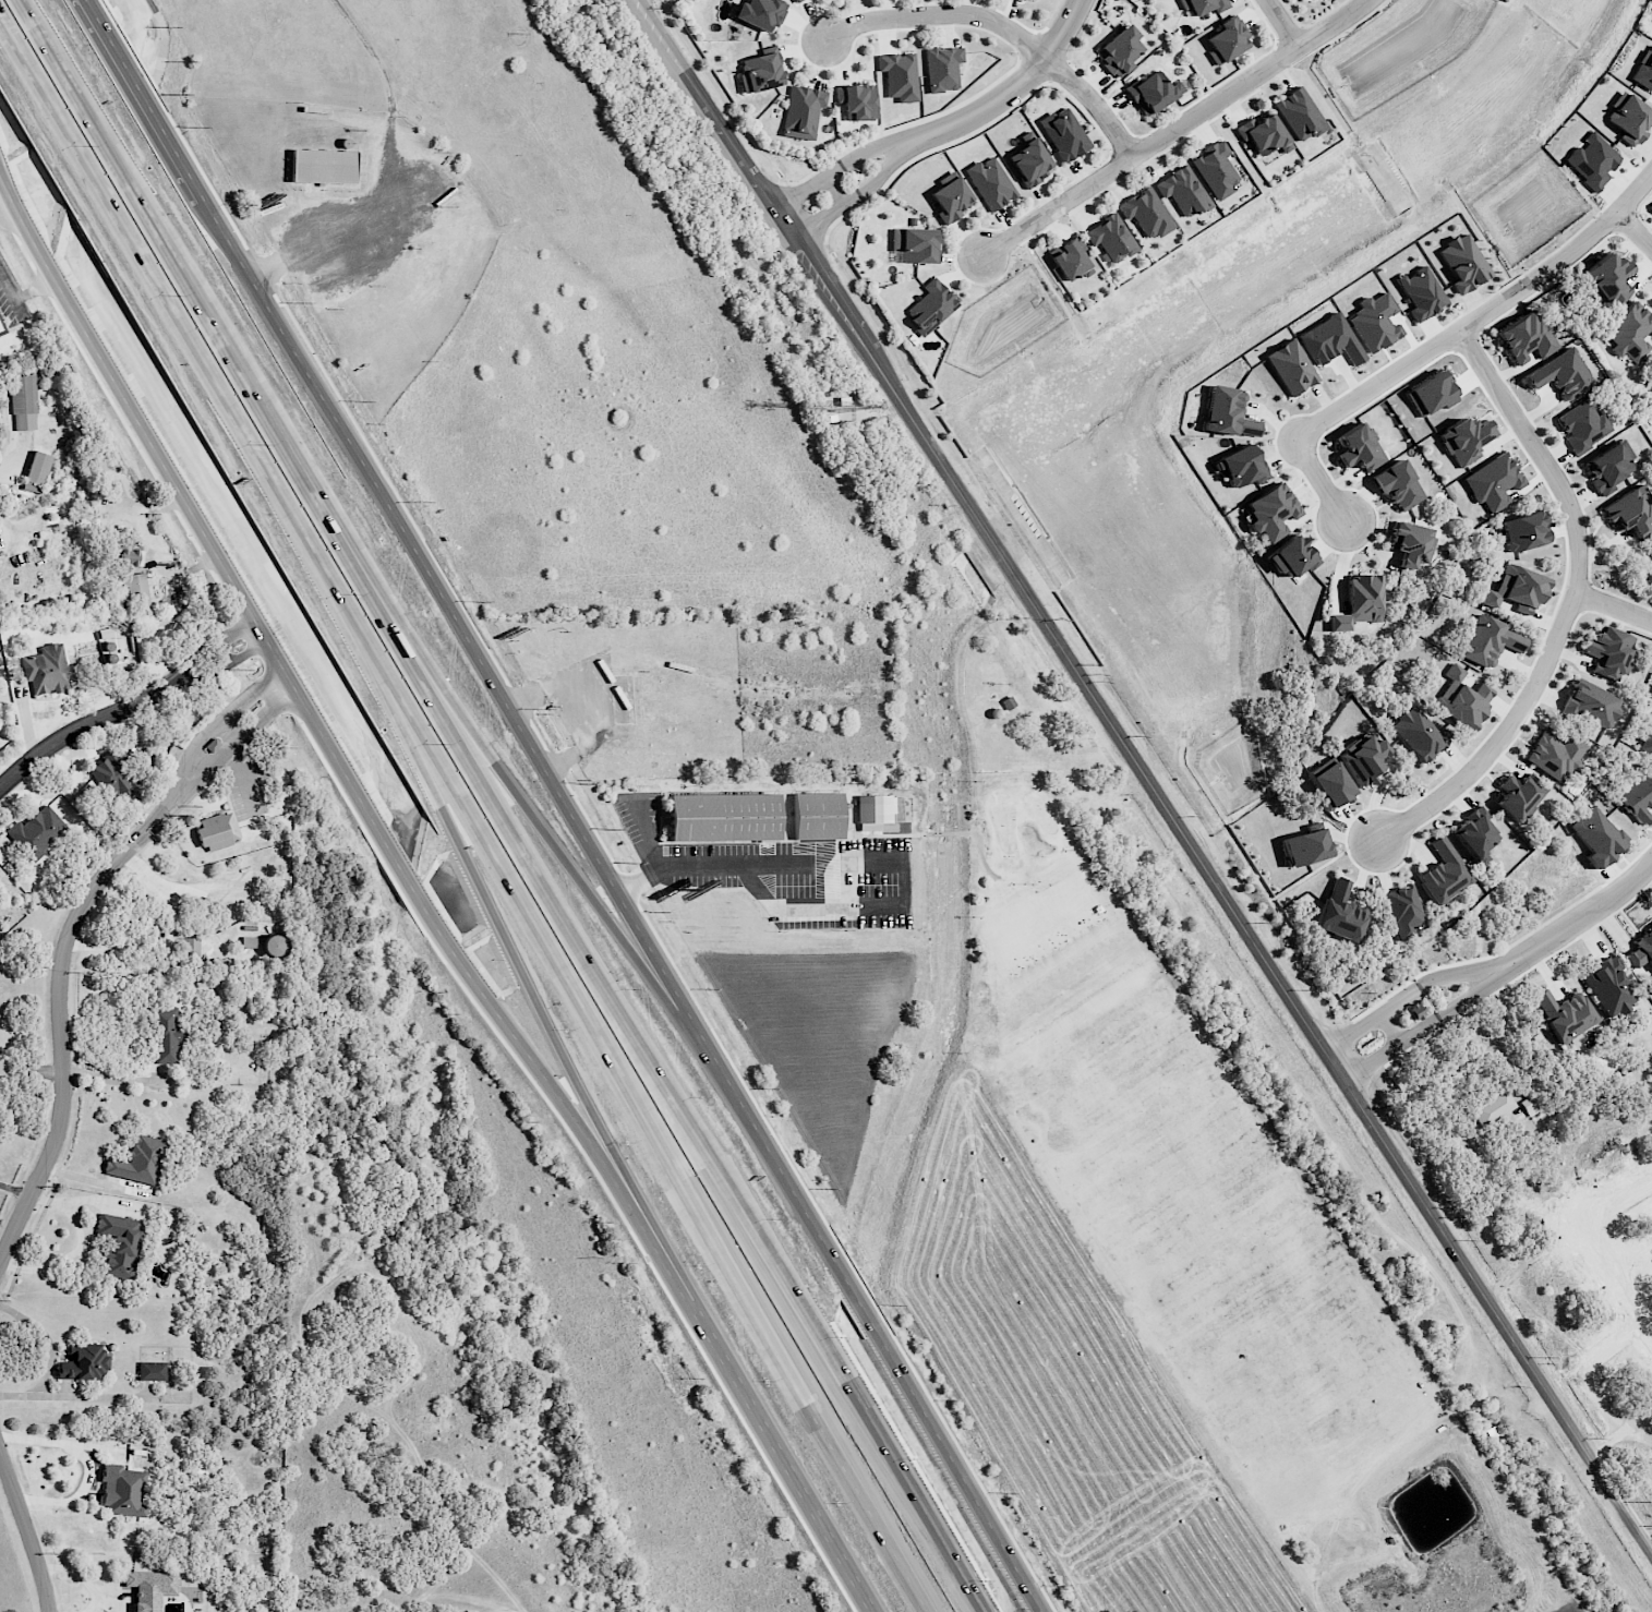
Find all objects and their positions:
building: (796, 0)
building: (1305, 0)
road: (640, 1)
building: (1203, 5)
building: (760, 13)
road: (1282, 25)
road: (1004, 27)
building: (1226, 39)
building: (1119, 50)
building: (942, 68)
building: (1643, 69)
building: (760, 72)
building: (899, 75)
road: (1012, 89)
building: (1153, 92)
road: (141, 98)
building: (856, 100)
building: (801, 111)
building: (1299, 113)
building: (1628, 117)
road: (1177, 130)
building: (1063, 134)
building: (1263, 134)
road: (869, 153)
building: (1029, 160)
building: (1591, 160)
building: (321, 165)
building: (1215, 169)
road: (881, 176)
building: (989, 183)
road: (836, 191)
building: (1182, 191)
road: (801, 194)
building: (949, 197)
road: (7, 199)
building: (1651, 202)
building: (1146, 213)
road: (819, 221)
road: (1636, 230)
building: (1110, 238)
building: (913, 245)
building: (1069, 260)
building: (1462, 263)
building: (1607, 278)
road: (23, 292)
building: (1421, 292)
building: (930, 306)
road: (1483, 315)
building: (1374, 322)
building: (1, 326)
building: (1, 332)
building: (1629, 332)
road: (188, 338)
building: (1524, 338)
building: (1329, 340)
building: (1290, 366)
building: (1560, 374)
building: (1430, 394)
building: (23, 401)
building: (1228, 412)
building: (1582, 425)
building: (1462, 438)
building: (1358, 448)
building: (1241, 465)
building: (1608, 466)
building: (36, 471)
road: (1323, 478)
building: (1492, 481)
building: (1397, 485)
building: (1271, 510)
building: (1628, 510)
building: (1522, 531)
building: (1411, 543)
building: (128, 555)
building: (1291, 556)
building: (1650, 576)
road: (360, 582)
building: (1515, 588)
building: (133, 589)
building: (1359, 602)
road: (1571, 603)
road: (1614, 606)
road: (234, 630)
building: (1487, 641)
road: (246, 651)
road: (221, 652)
building: (1607, 652)
building: (118, 655)
road: (190, 659)
building: (46, 670)
road: (200, 676)
road: (252, 695)
building: (1460, 698)
building: (1592, 701)
road: (266, 713)
road: (80, 726)
road: (231, 730)
building: (1414, 732)
building: (1648, 738)
road: (200, 743)
building: (215, 746)
building: (1553, 754)
road: (218, 759)
building: (1361, 759)
building: (112, 775)
road: (1144, 775)
building: (1329, 784)
road: (180, 792)
building: (241, 796)
building: (1517, 796)
building: (1638, 797)
building: (871, 807)
building: (816, 814)
building: (721, 816)
road: (146, 821)
road: (154, 829)
building: (217, 830)
building: (35, 831)
road: (543, 832)
building: (1474, 834)
building: (1595, 835)
road: (641, 841)
building: (1305, 846)
road: (755, 864)
building: (1443, 871)
road: (421, 899)
road: (622, 902)
road: (810, 910)
building: (1403, 911)
building: (1340, 912)
road: (1580, 917)
road: (496, 918)
road: (530, 918)
building: (273, 946)
building: (191, 949)
building: (1641, 949)
road: (1438, 978)
building: (1650, 982)
building: (1608, 987)
road: (1455, 1007)
building: (1415, 1011)
building: (1565, 1013)
road: (1390, 1025)
road: (1351, 1027)
building: (166, 1034)
road: (62, 1048)
road: (1370, 1059)
building: (3, 1067)
road: (117, 1078)
building: (1492, 1107)
building: (142, 1162)
road: (15, 1191)
road: (1623, 1205)
building: (119, 1243)
road: (1621, 1277)
road: (1596, 1357)
building: (83, 1361)
building: (152, 1370)
building: (202, 1372)
road: (836, 1390)
road: (61, 1394)
road: (810, 1395)
road: (58, 1441)
building: (121, 1490)
road: (75, 1492)
road: (27, 1530)
building: (145, 1586)

